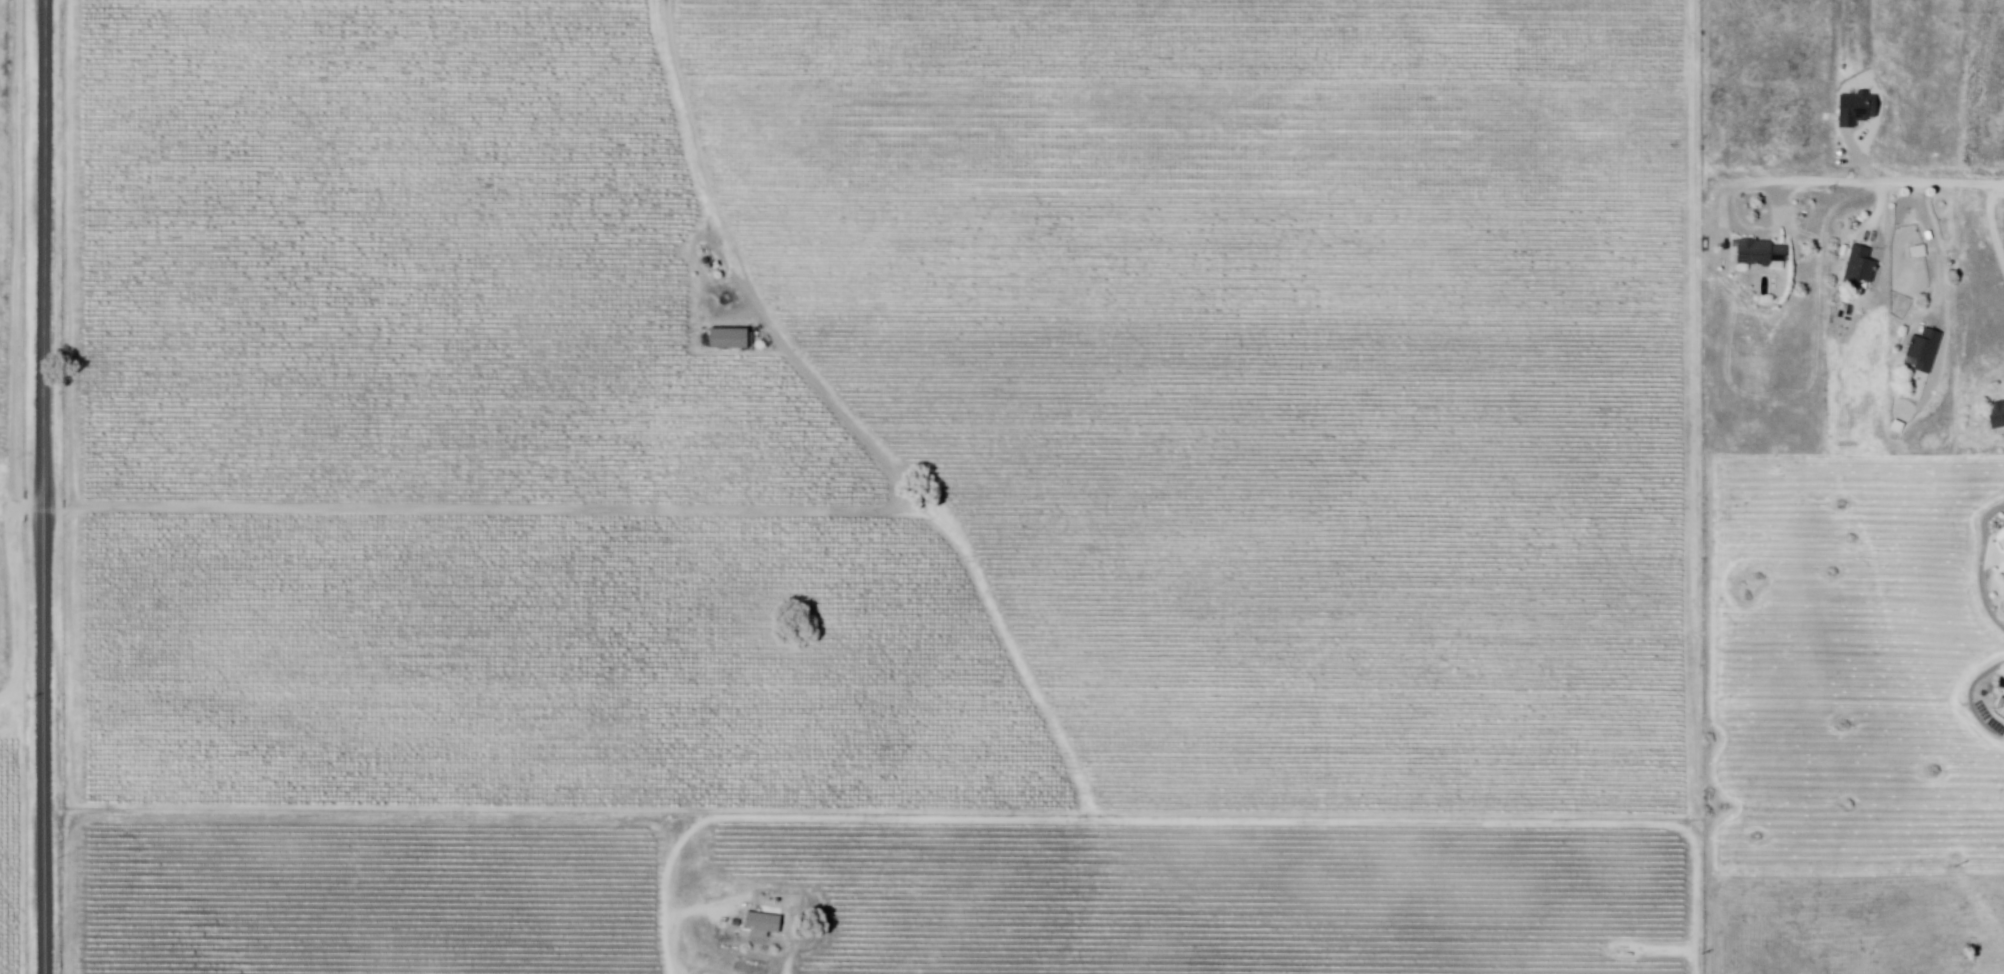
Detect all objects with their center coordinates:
building: (1855, 110)
road: (1871, 185)
road: (1882, 212)
road: (1992, 226)
building: (1759, 253)
road: (1937, 253)
building: (1860, 268)
building: (728, 339)
building: (1924, 351)
building: (1996, 416)
road: (49, 486)
building: (761, 924)

